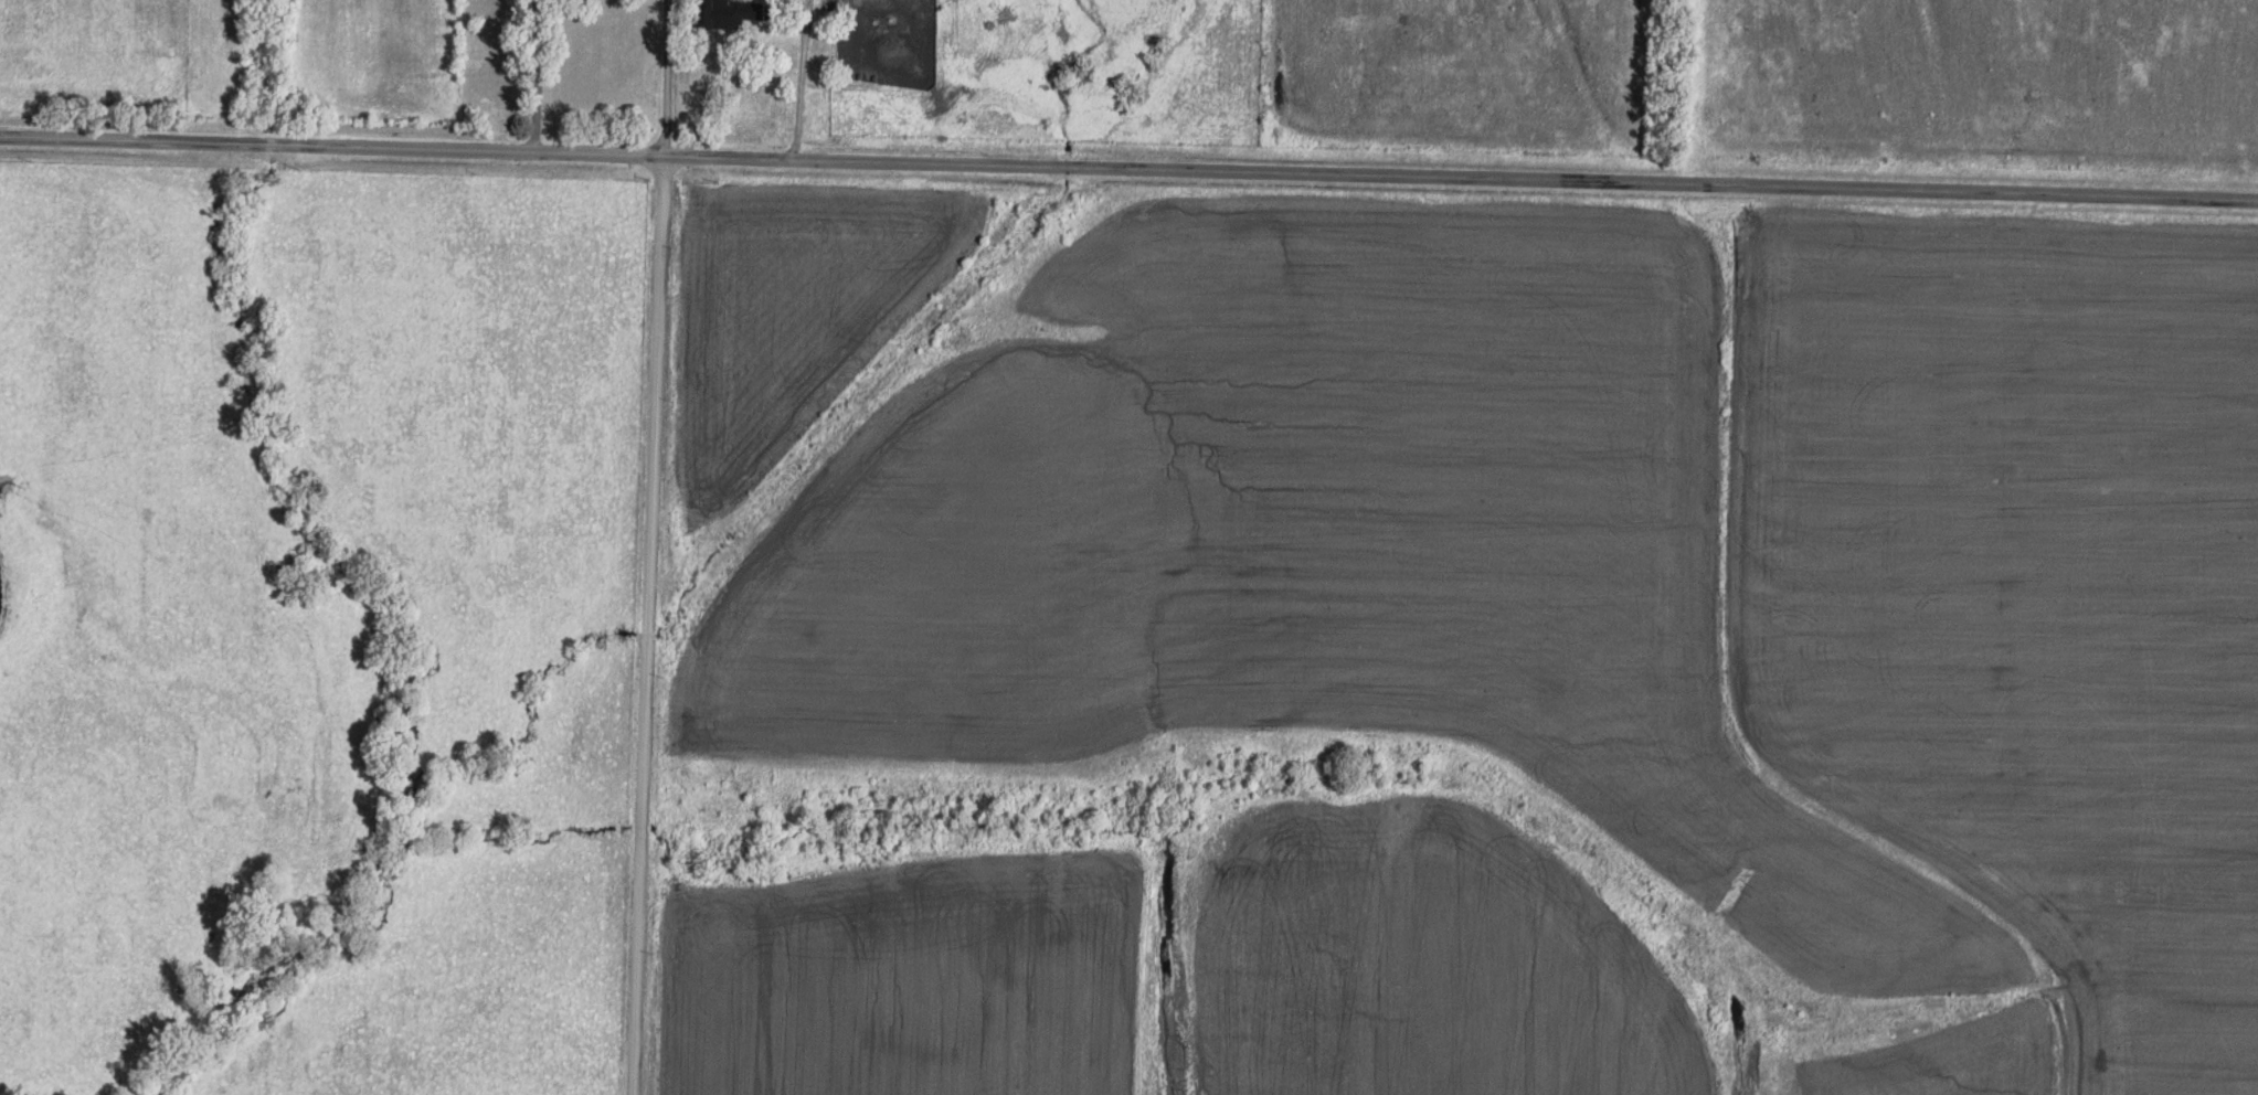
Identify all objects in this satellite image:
building: (725, 13)
road: (538, 79)
road: (664, 82)
road: (1128, 179)
crop: (791, 304)
crop: (1620, 567)
road: (637, 629)
crop: (1515, 970)
crop: (899, 991)

